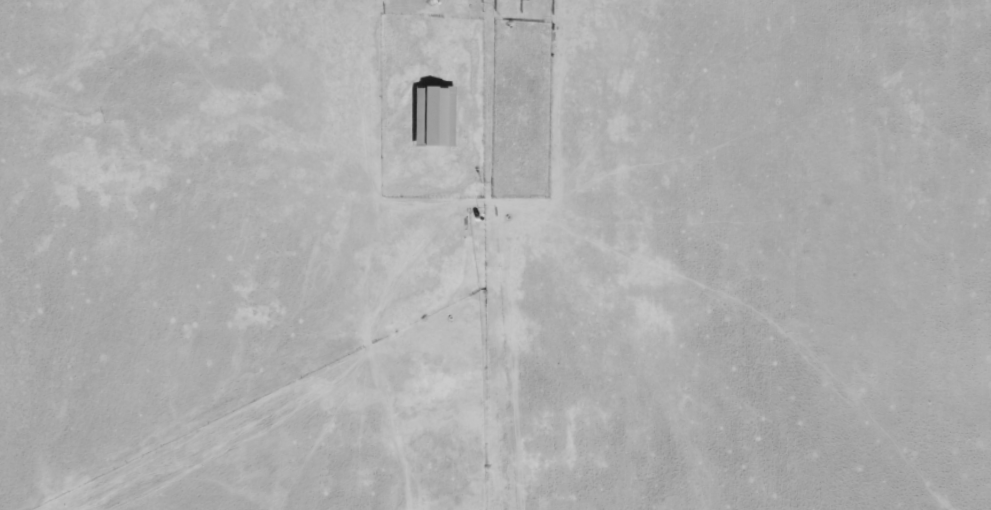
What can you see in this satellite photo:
building: (433, 118)

